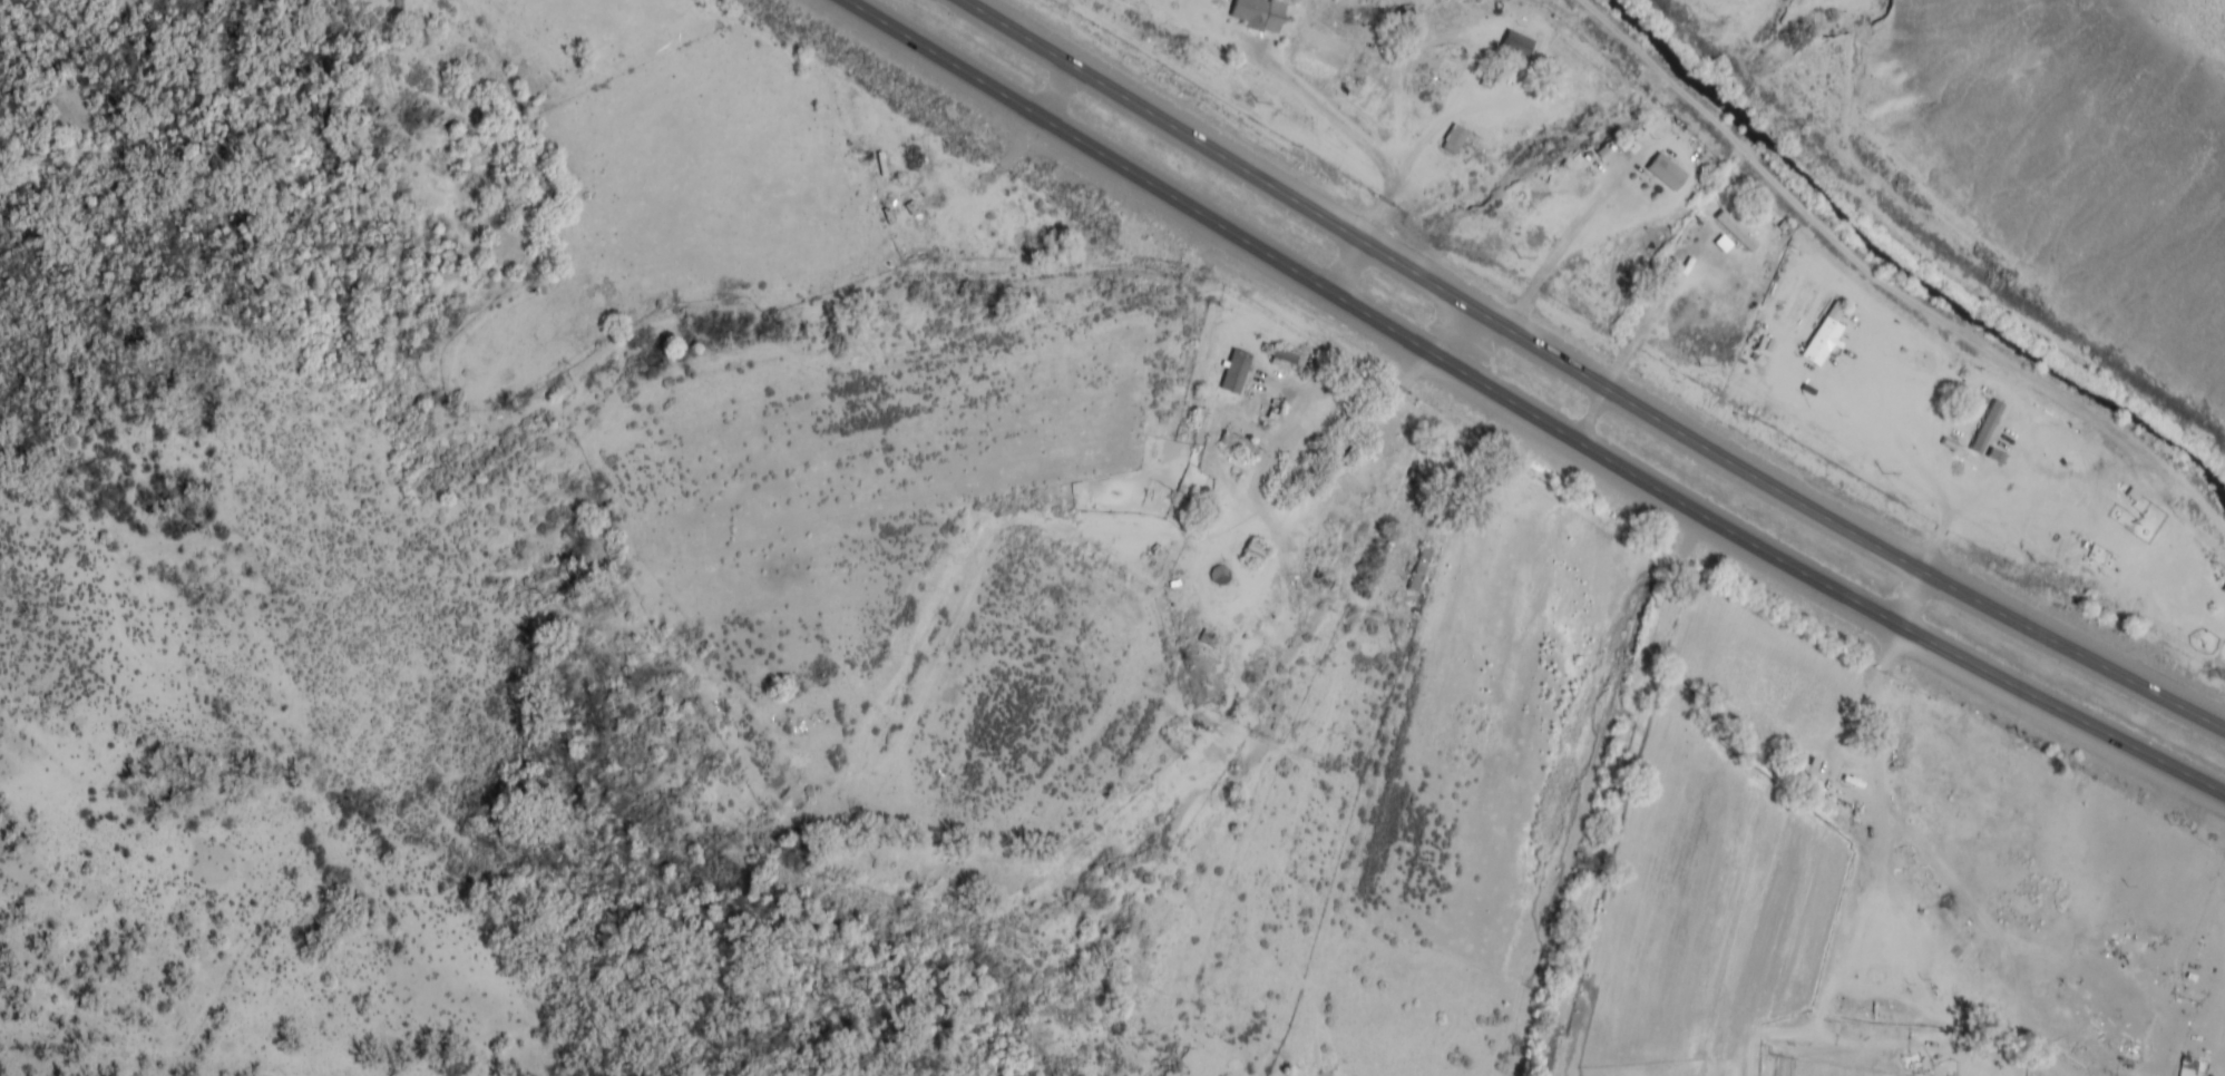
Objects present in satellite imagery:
building: (1258, 14)
building: (1516, 45)
building: (1455, 136)
building: (914, 157)
building: (1740, 238)
building: (1824, 333)
building: (1237, 371)
road: (1585, 375)
road: (1525, 411)
building: (1419, 568)

